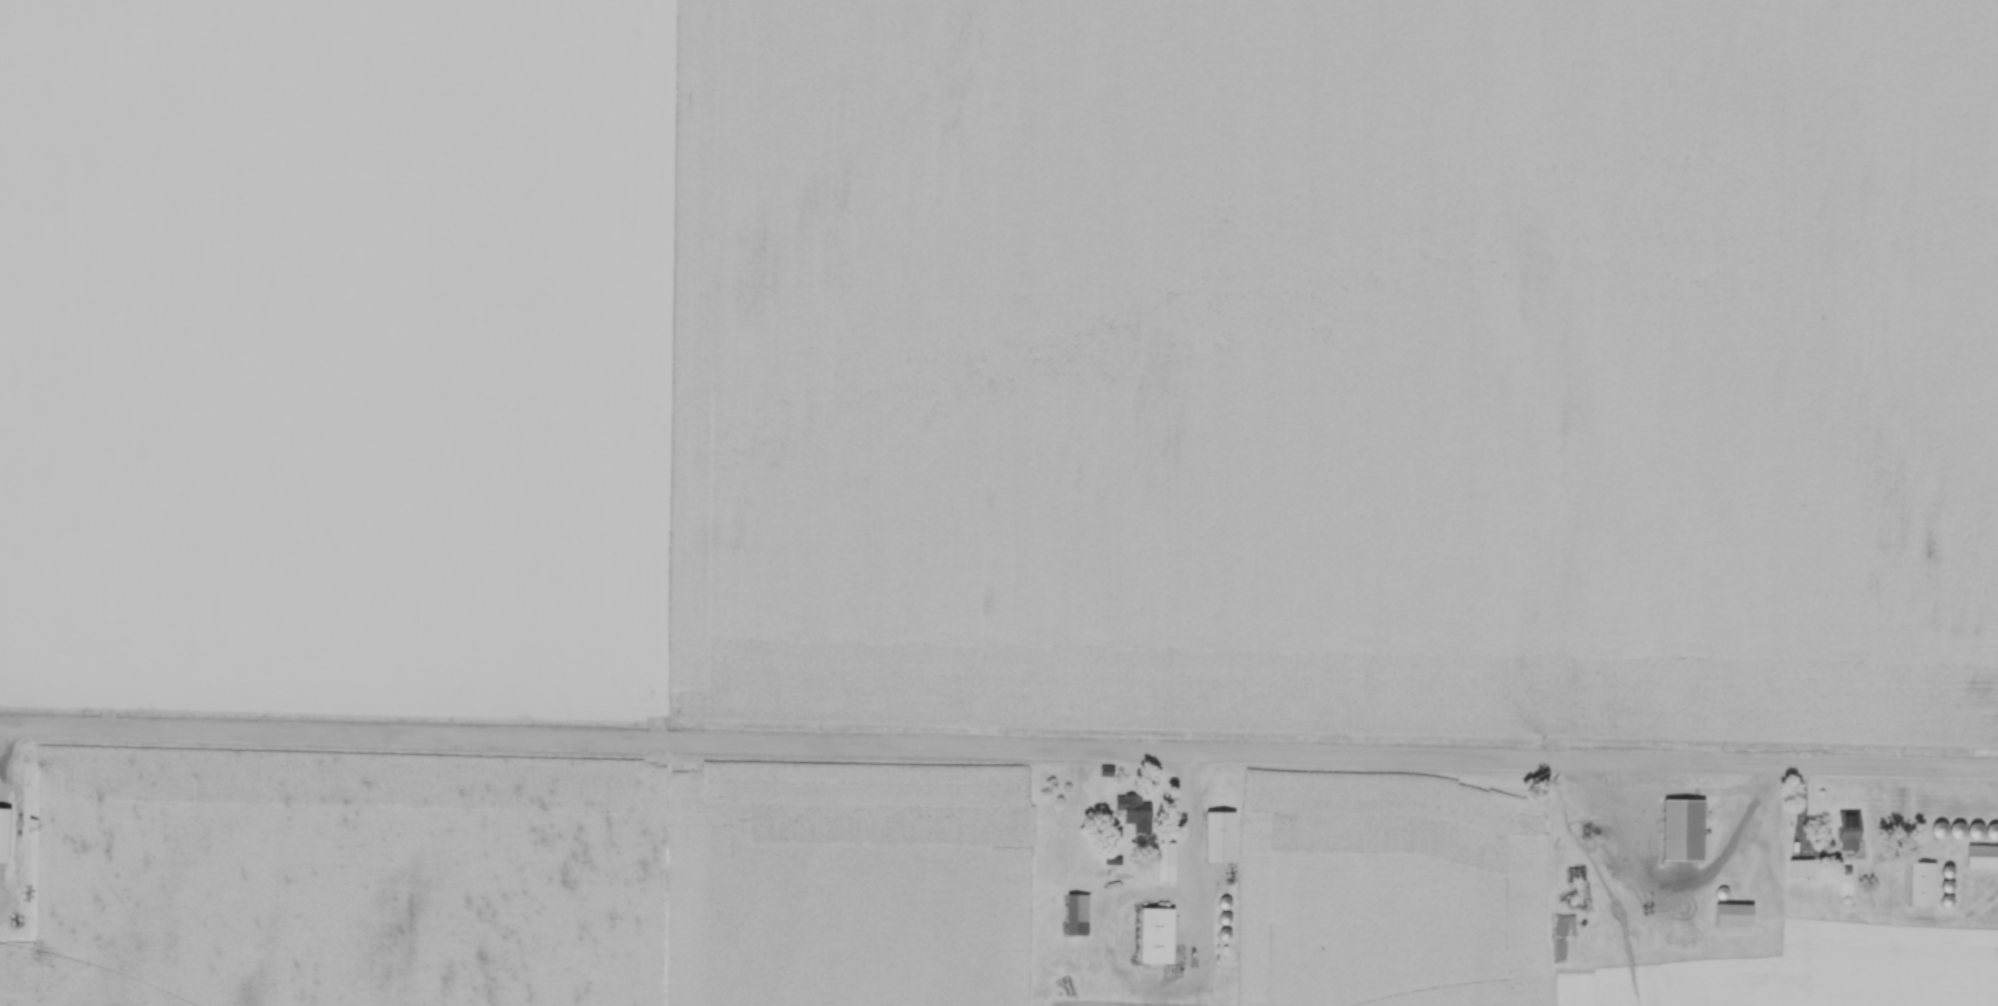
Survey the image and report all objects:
road: (999, 748)
building: (1131, 809)
building: (1680, 830)
building: (2, 835)
building: (1218, 837)
building: (1164, 855)
building: (1981, 858)
building: (1920, 884)
building: (1737, 912)
building: (1075, 914)
building: (1153, 936)

